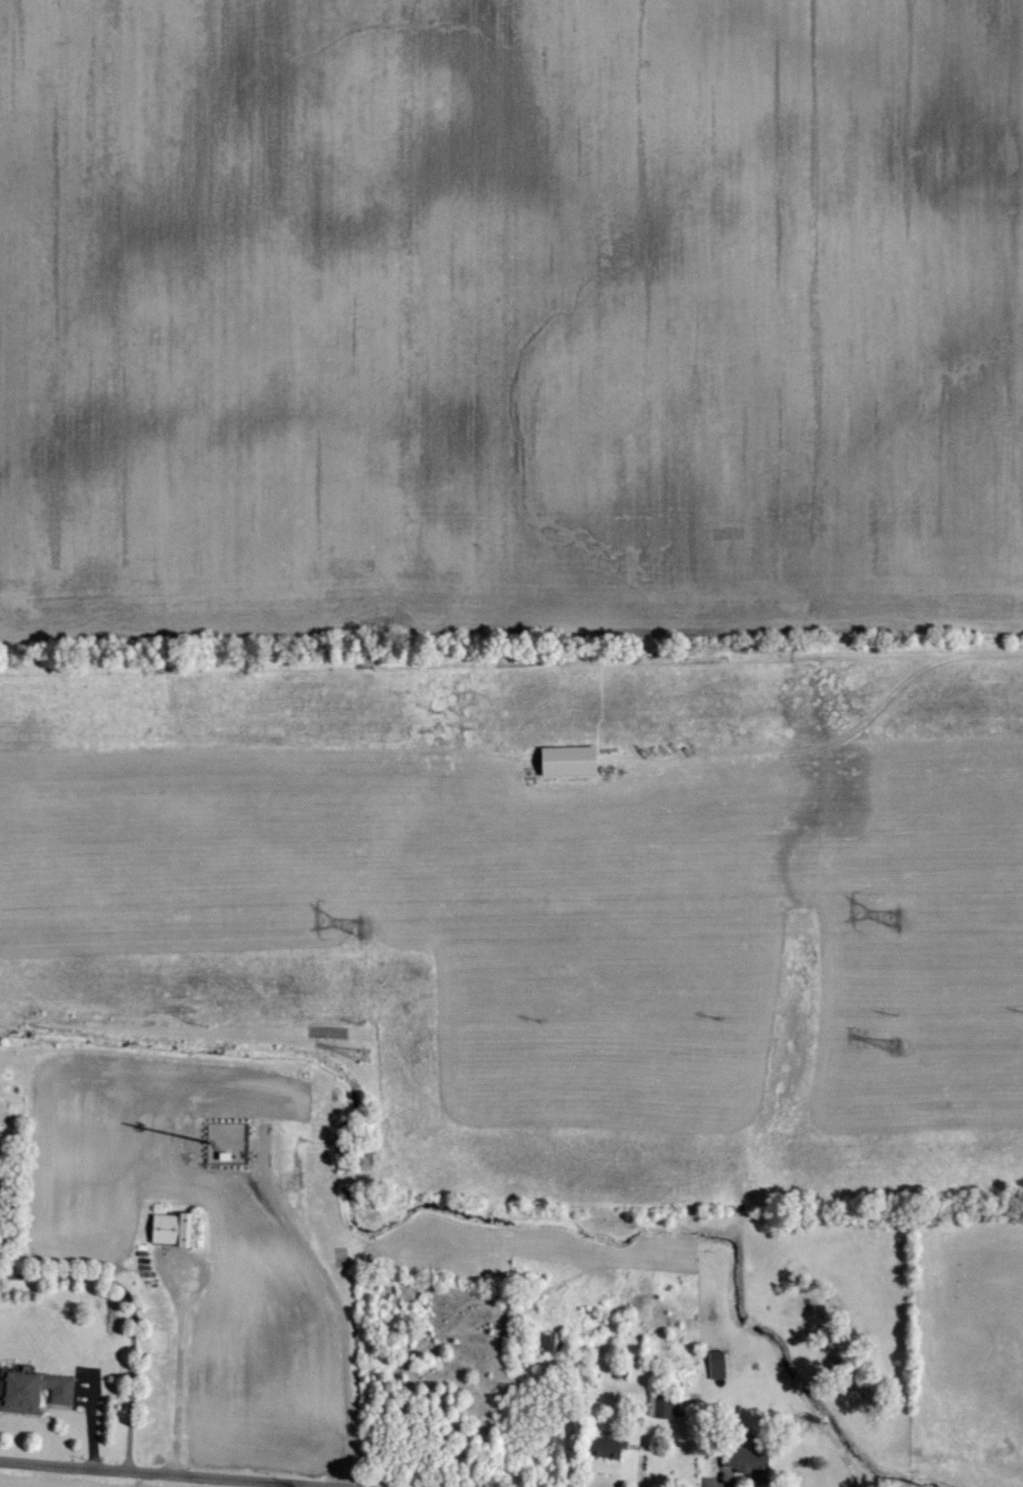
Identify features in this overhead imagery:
road: (832, 742)
building: (562, 759)
power tower: (897, 918)
power tower: (361, 930)
power tower: (898, 1046)
power tower: (365, 1055)
building: (168, 1228)
road: (338, 1297)
road: (132, 1315)
building: (713, 1363)
road: (179, 1364)
building: (31, 1389)
building: (656, 1406)
building: (600, 1447)
building: (740, 1459)
road: (166, 1474)

